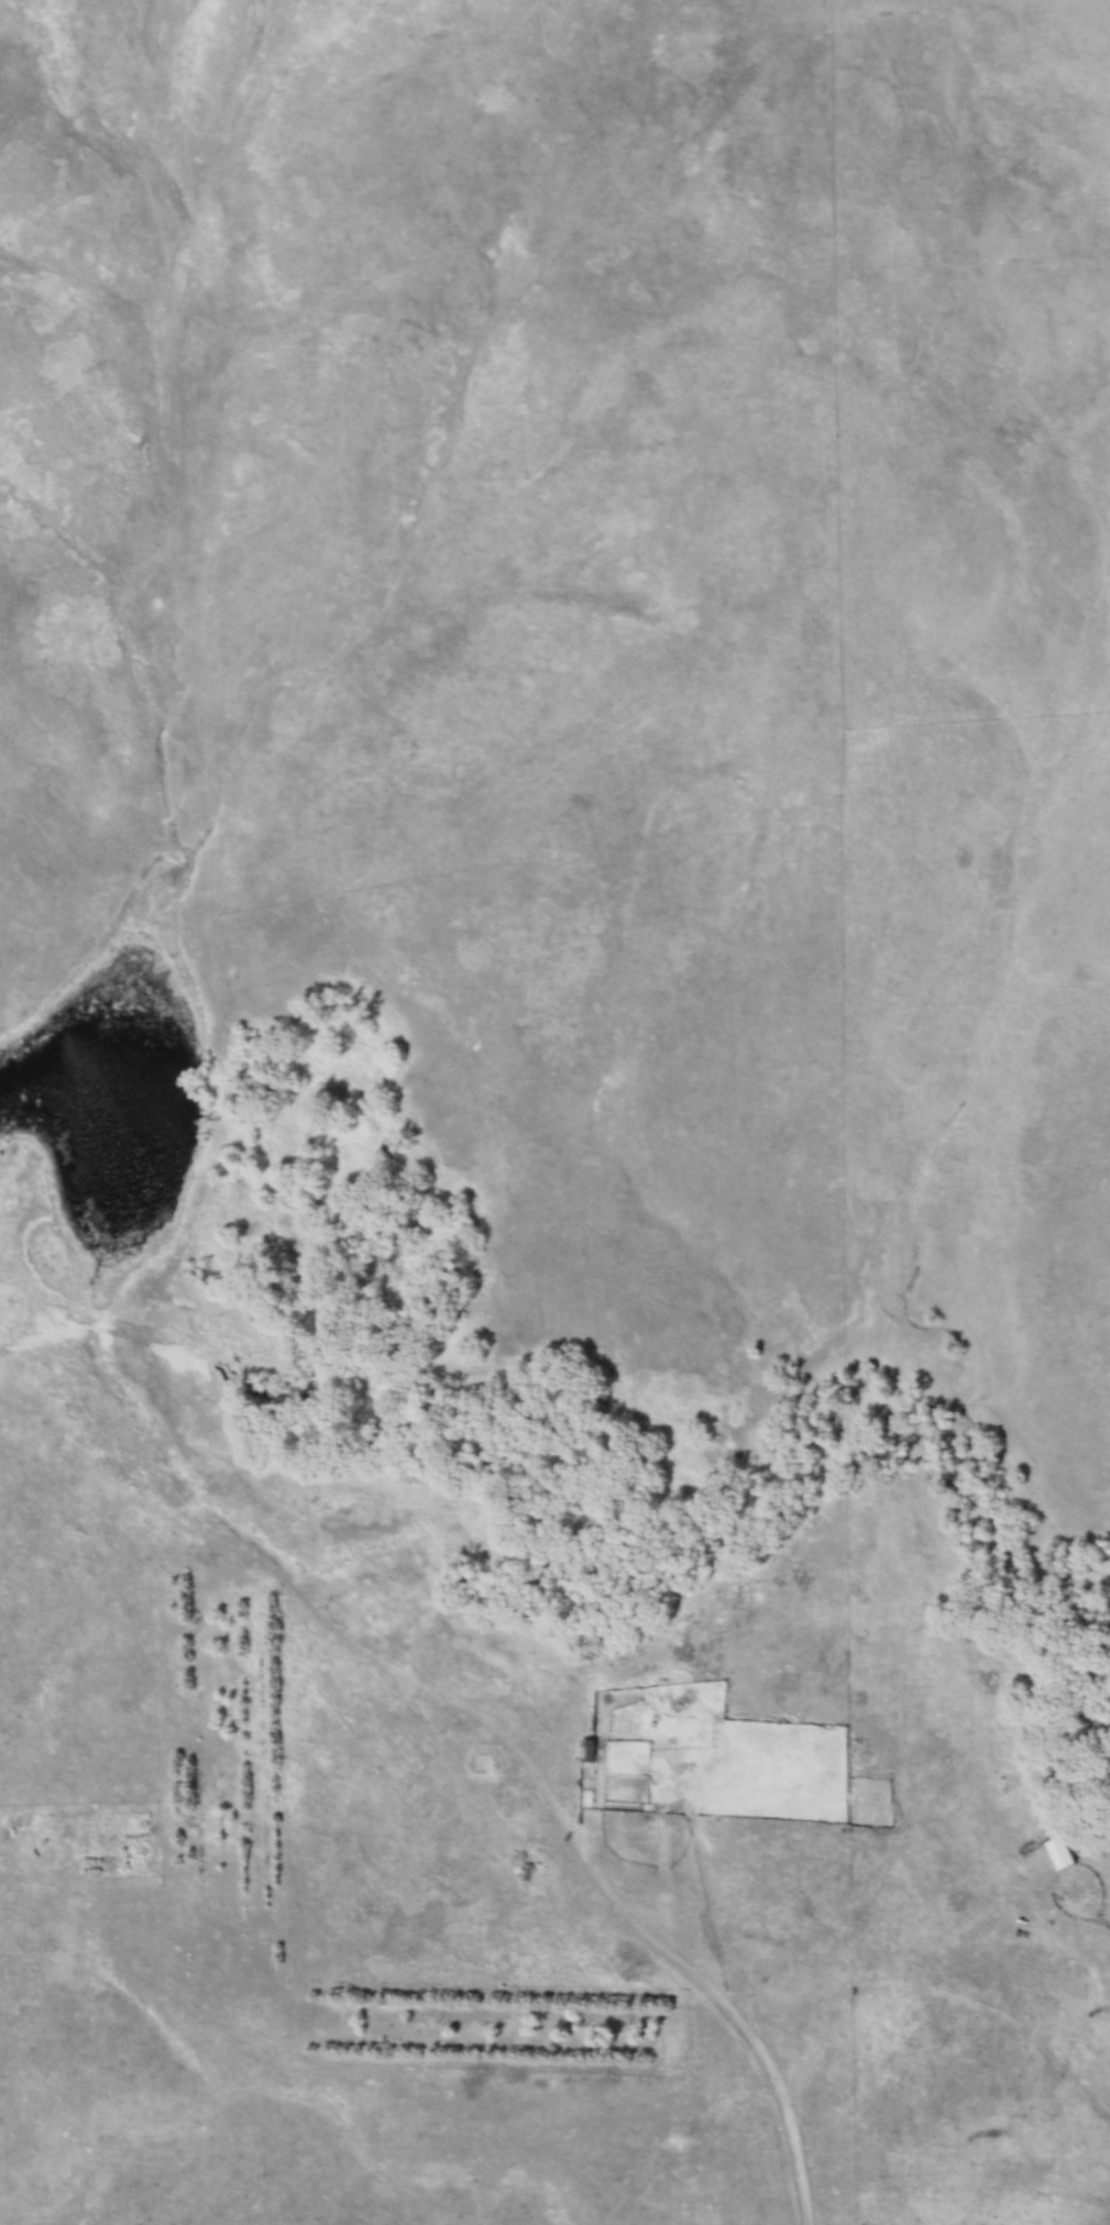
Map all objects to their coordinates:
building: (1066, 1855)
road: (773, 2094)

